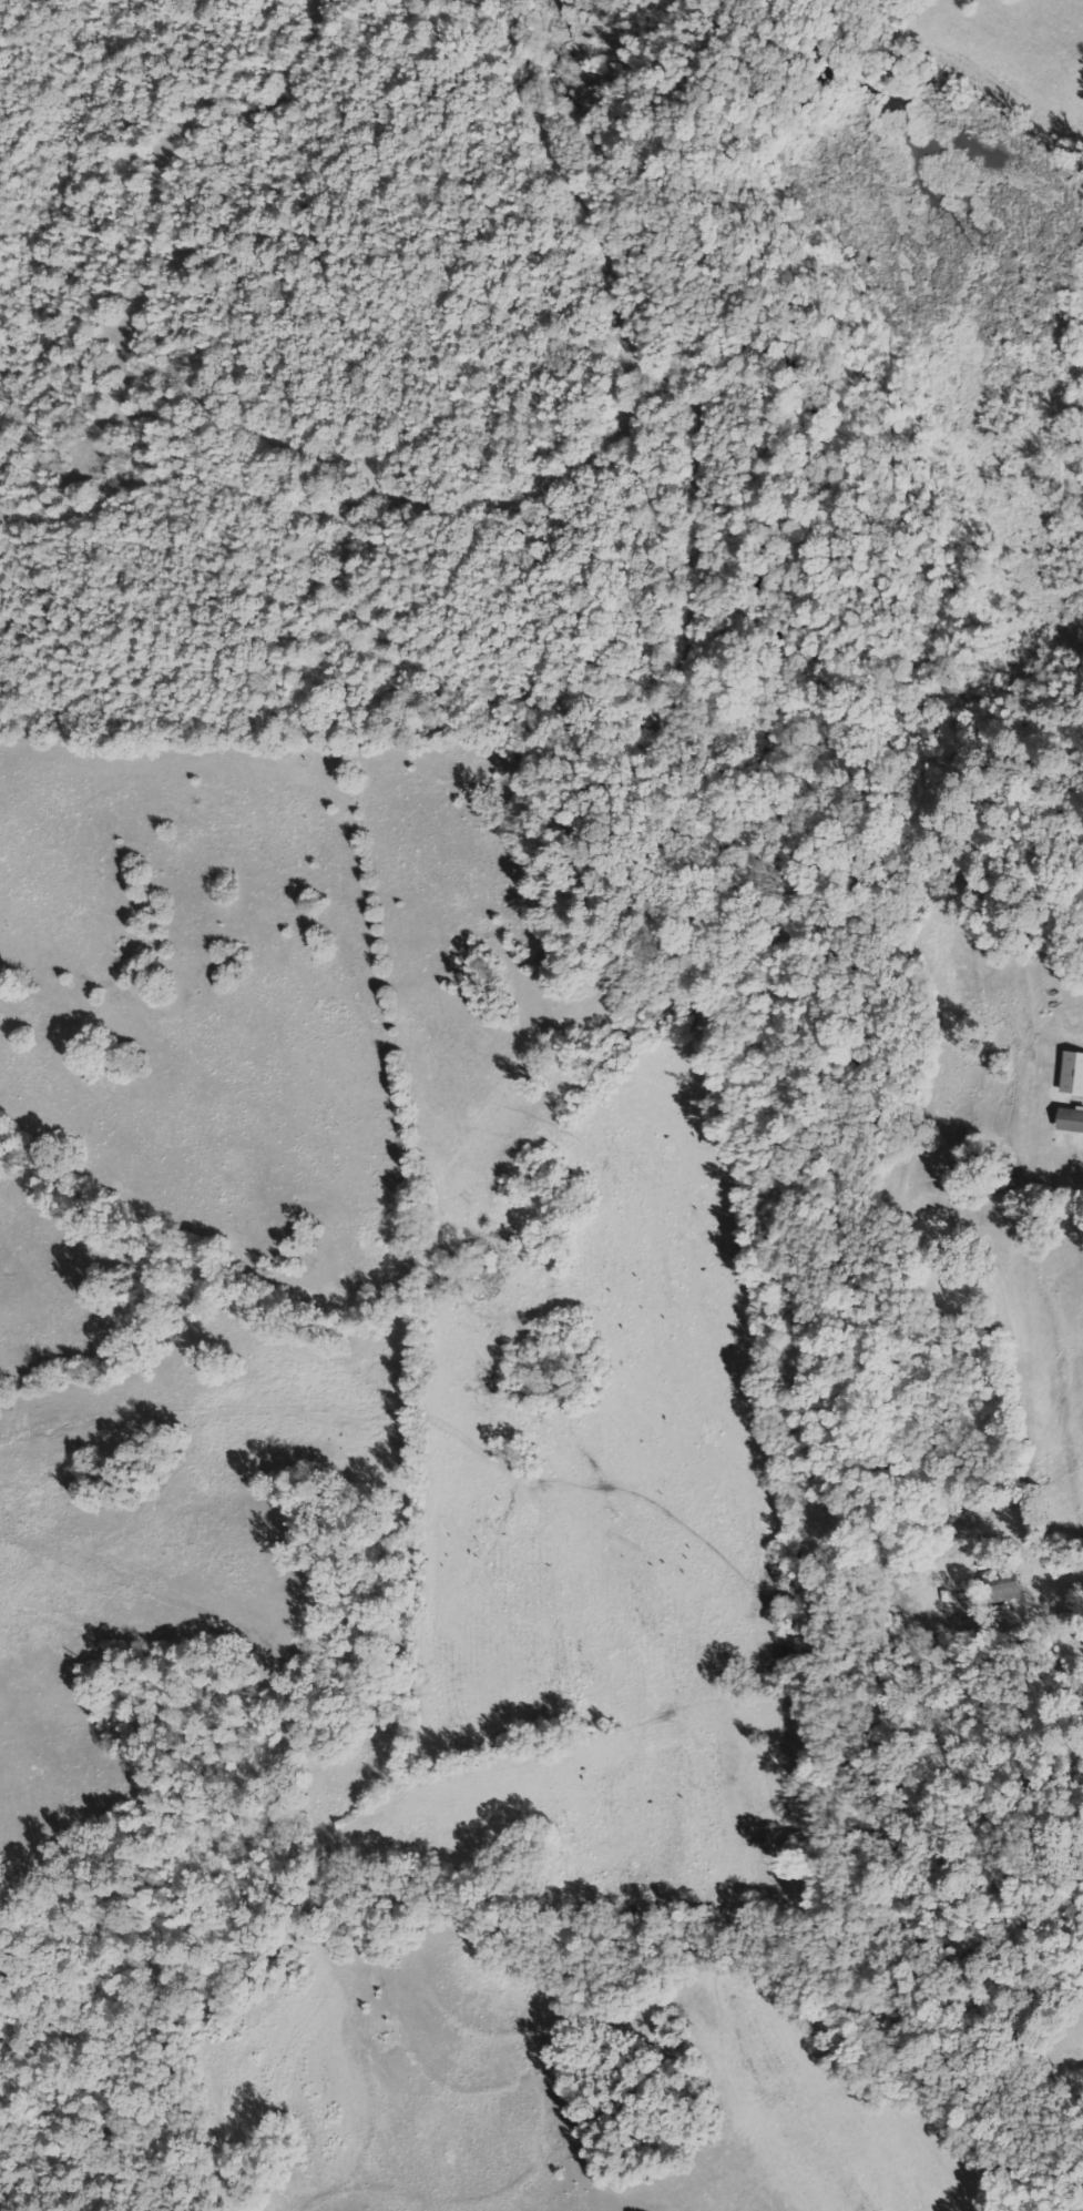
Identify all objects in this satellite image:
building: (1073, 1073)
building: (1072, 1119)
road: (1059, 1559)

